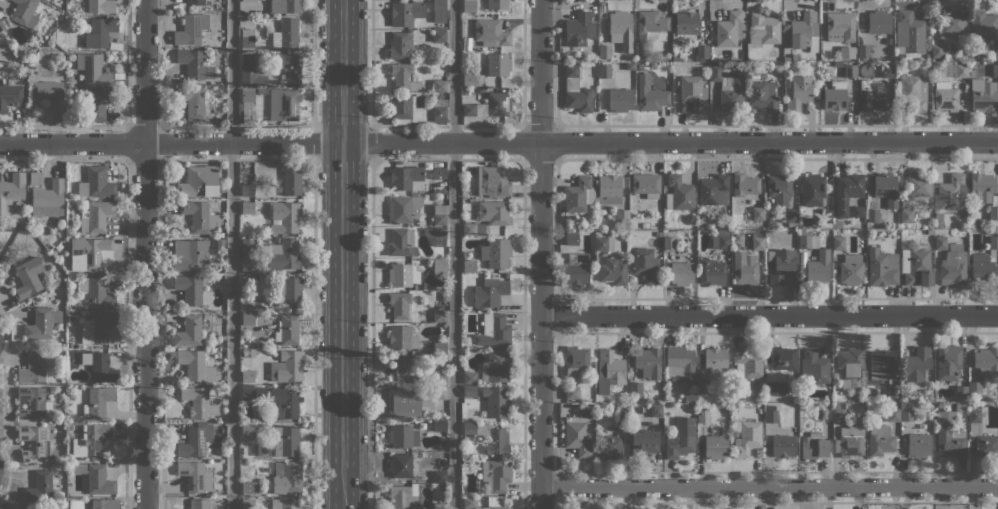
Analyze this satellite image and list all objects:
building: (247, 1)
building: (195, 2)
building: (497, 4)
building: (96, 6)
building: (285, 6)
building: (469, 6)
building: (439, 11)
building: (24, 12)
building: (405, 12)
building: (878, 21)
building: (952, 21)
building: (686, 22)
building: (982, 23)
building: (649, 24)
building: (839, 26)
building: (764, 27)
building: (438, 28)
building: (191, 29)
building: (578, 29)
building: (620, 29)
building: (729, 29)
building: (99, 32)
building: (490, 32)
building: (801, 32)
building: (909, 32)
building: (285, 34)
building: (438, 35)
building: (247, 37)
building: (860, 38)
building: (678, 42)
building: (877, 42)
building: (400, 46)
building: (863, 50)
building: (937, 50)
building: (995, 50)
building: (604, 51)
building: (702, 51)
building: (846, 52)
building: (902, 52)
building: (675, 57)
building: (795, 57)
building: (786, 59)
road: (313, 61)
road: (371, 62)
building: (498, 63)
building: (194, 64)
building: (652, 64)
building: (935, 66)
building: (290, 67)
building: (639, 67)
building: (753, 67)
building: (92, 69)
building: (850, 70)
building: (959, 70)
building: (995, 70)
building: (604, 71)
building: (887, 71)
building: (250, 73)
building: (402, 77)
building: (472, 80)
building: (965, 85)
building: (439, 86)
building: (729, 88)
building: (575, 91)
building: (913, 91)
building: (48, 92)
building: (693, 92)
building: (799, 92)
building: (649, 94)
building: (9, 95)
building: (762, 95)
building: (835, 95)
building: (872, 95)
building: (944, 96)
building: (984, 97)
building: (619, 99)
building: (193, 100)
building: (98, 103)
building: (283, 104)
building: (246, 105)
building: (489, 106)
building: (405, 108)
building: (439, 110)
road: (316, 139)
road: (371, 141)
road: (498, 141)
building: (437, 174)
building: (405, 176)
building: (35, 178)
building: (291, 180)
building: (199, 181)
building: (490, 182)
building: (96, 183)
building: (646, 184)
building: (744, 184)
building: (919, 185)
building: (982, 186)
building: (779, 187)
building: (223, 188)
building: (886, 188)
building: (609, 189)
building: (714, 189)
building: (812, 189)
building: (247, 190)
building: (440, 190)
building: (848, 190)
building: (11, 191)
building: (951, 192)
building: (678, 193)
building: (578, 194)
building: (48, 198)
building: (247, 207)
building: (403, 208)
building: (857, 211)
building: (493, 212)
building: (758, 213)
building: (993, 213)
building: (440, 214)
building: (622, 215)
building: (872, 215)
building: (906, 215)
building: (97, 216)
building: (200, 216)
building: (791, 216)
building: (284, 217)
building: (826, 217)
building: (938, 220)
building: (837, 223)
building: (644, 224)
building: (472, 228)
building: (930, 232)
building: (658, 233)
building: (435, 235)
building: (571, 237)
building: (276, 239)
building: (720, 239)
building: (807, 239)
building: (669, 242)
building: (757, 242)
building: (838, 242)
building: (940, 242)
building: (993, 242)
building: (220, 243)
building: (401, 243)
building: (604, 243)
building: (57, 246)
building: (90, 253)
building: (496, 253)
road: (145, 254)
building: (190, 254)
road: (232, 254)
building: (248, 254)
road: (343, 254)
road: (454, 254)
road: (540, 254)
building: (283, 255)
building: (645, 264)
building: (781, 265)
building: (953, 265)
building: (469, 266)
building: (818, 266)
building: (880, 267)
building: (915, 267)
building: (439, 268)
building: (575, 268)
building: (744, 268)
building: (851, 269)
building: (982, 269)
building: (612, 270)
building: (711, 271)
building: (681, 272)
building: (404, 276)
building: (28, 277)
building: (247, 282)
building: (191, 289)
building: (287, 291)
building: (490, 291)
building: (96, 292)
building: (444, 294)
building: (399, 304)
road: (769, 314)
building: (439, 315)
building: (205, 316)
building: (247, 319)
building: (42, 323)
building: (100, 328)
building: (287, 330)
building: (493, 330)
building: (189, 331)
road: (313, 332)
road: (372, 333)
building: (401, 337)
building: (439, 348)
building: (430, 349)
building: (249, 352)
building: (715, 358)
building: (782, 358)
building: (985, 360)
building: (576, 361)
building: (648, 362)
building: (679, 362)
building: (747, 362)
building: (495, 363)
building: (879, 363)
building: (917, 363)
building: (195, 365)
building: (813, 366)
building: (35, 367)
building: (286, 367)
building: (101, 368)
building: (851, 368)
building: (949, 368)
building: (609, 370)
building: (405, 371)
building: (247, 375)
building: (469, 377)
building: (439, 379)
building: (635, 388)
building: (703, 388)
building: (974, 389)
building: (468, 390)
building: (774, 390)
building: (893, 390)
building: (247, 393)
building: (439, 393)
building: (571, 393)
building: (690, 396)
building: (927, 396)
building: (97, 401)
building: (198, 401)
building: (495, 401)
building: (284, 402)
building: (403, 402)
building: (32, 403)
building: (801, 407)
building: (655, 410)
building: (823, 413)
building: (837, 413)
building: (893, 414)
building: (906, 414)
building: (621, 416)
building: (703, 416)
building: (771, 416)
building: (439, 425)
building: (247, 430)
building: (399, 435)
building: (949, 435)
building: (981, 435)
building: (576, 436)
building: (489, 437)
building: (680, 438)
building: (747, 438)
building: (850, 439)
building: (91, 440)
building: (285, 440)
building: (880, 440)
building: (643, 442)
building: (36, 443)
building: (192, 443)
building: (715, 444)
building: (782, 445)
building: (813, 445)
building: (918, 445)
building: (609, 446)
building: (401, 465)
building: (78, 468)
building: (496, 475)
building: (195, 476)
building: (288, 477)
building: (439, 477)
building: (99, 480)
road: (769, 486)
building: (41, 487)
building: (249, 487)
building: (403, 496)
building: (493, 500)
building: (469, 502)
building: (104, 503)
building: (198, 504)
building: (247, 504)
building: (283, 504)
building: (439, 506)
building: (19, 507)
building: (494, 507)

